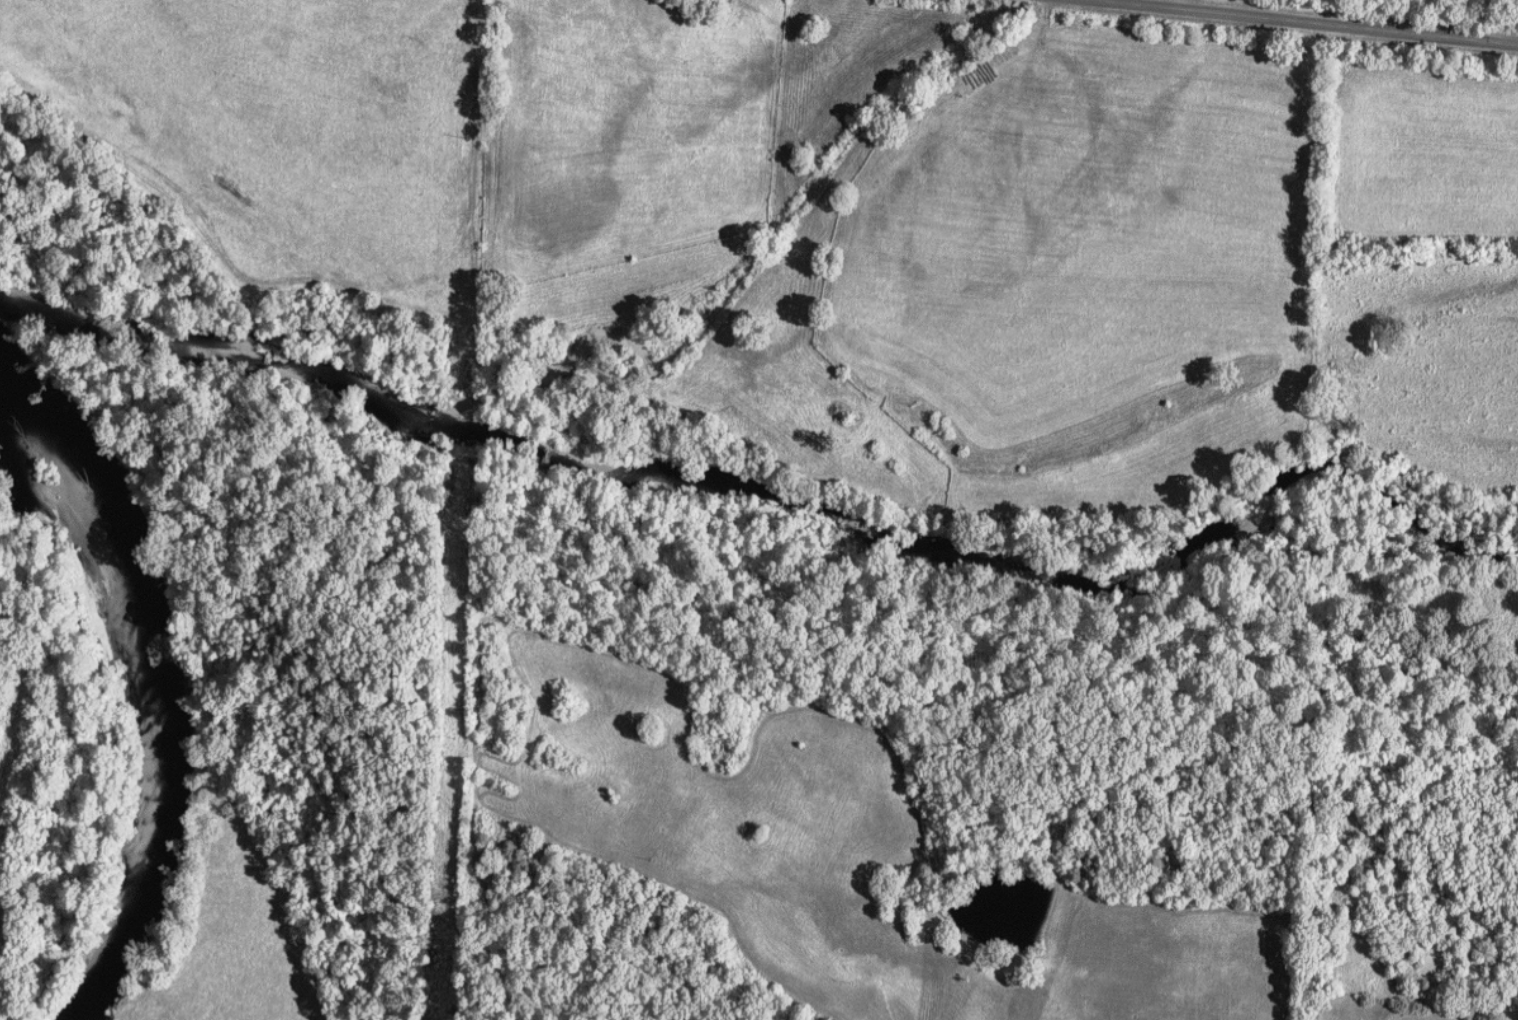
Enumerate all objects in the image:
road: (1316, 20)
road: (828, 172)
river: (137, 695)

